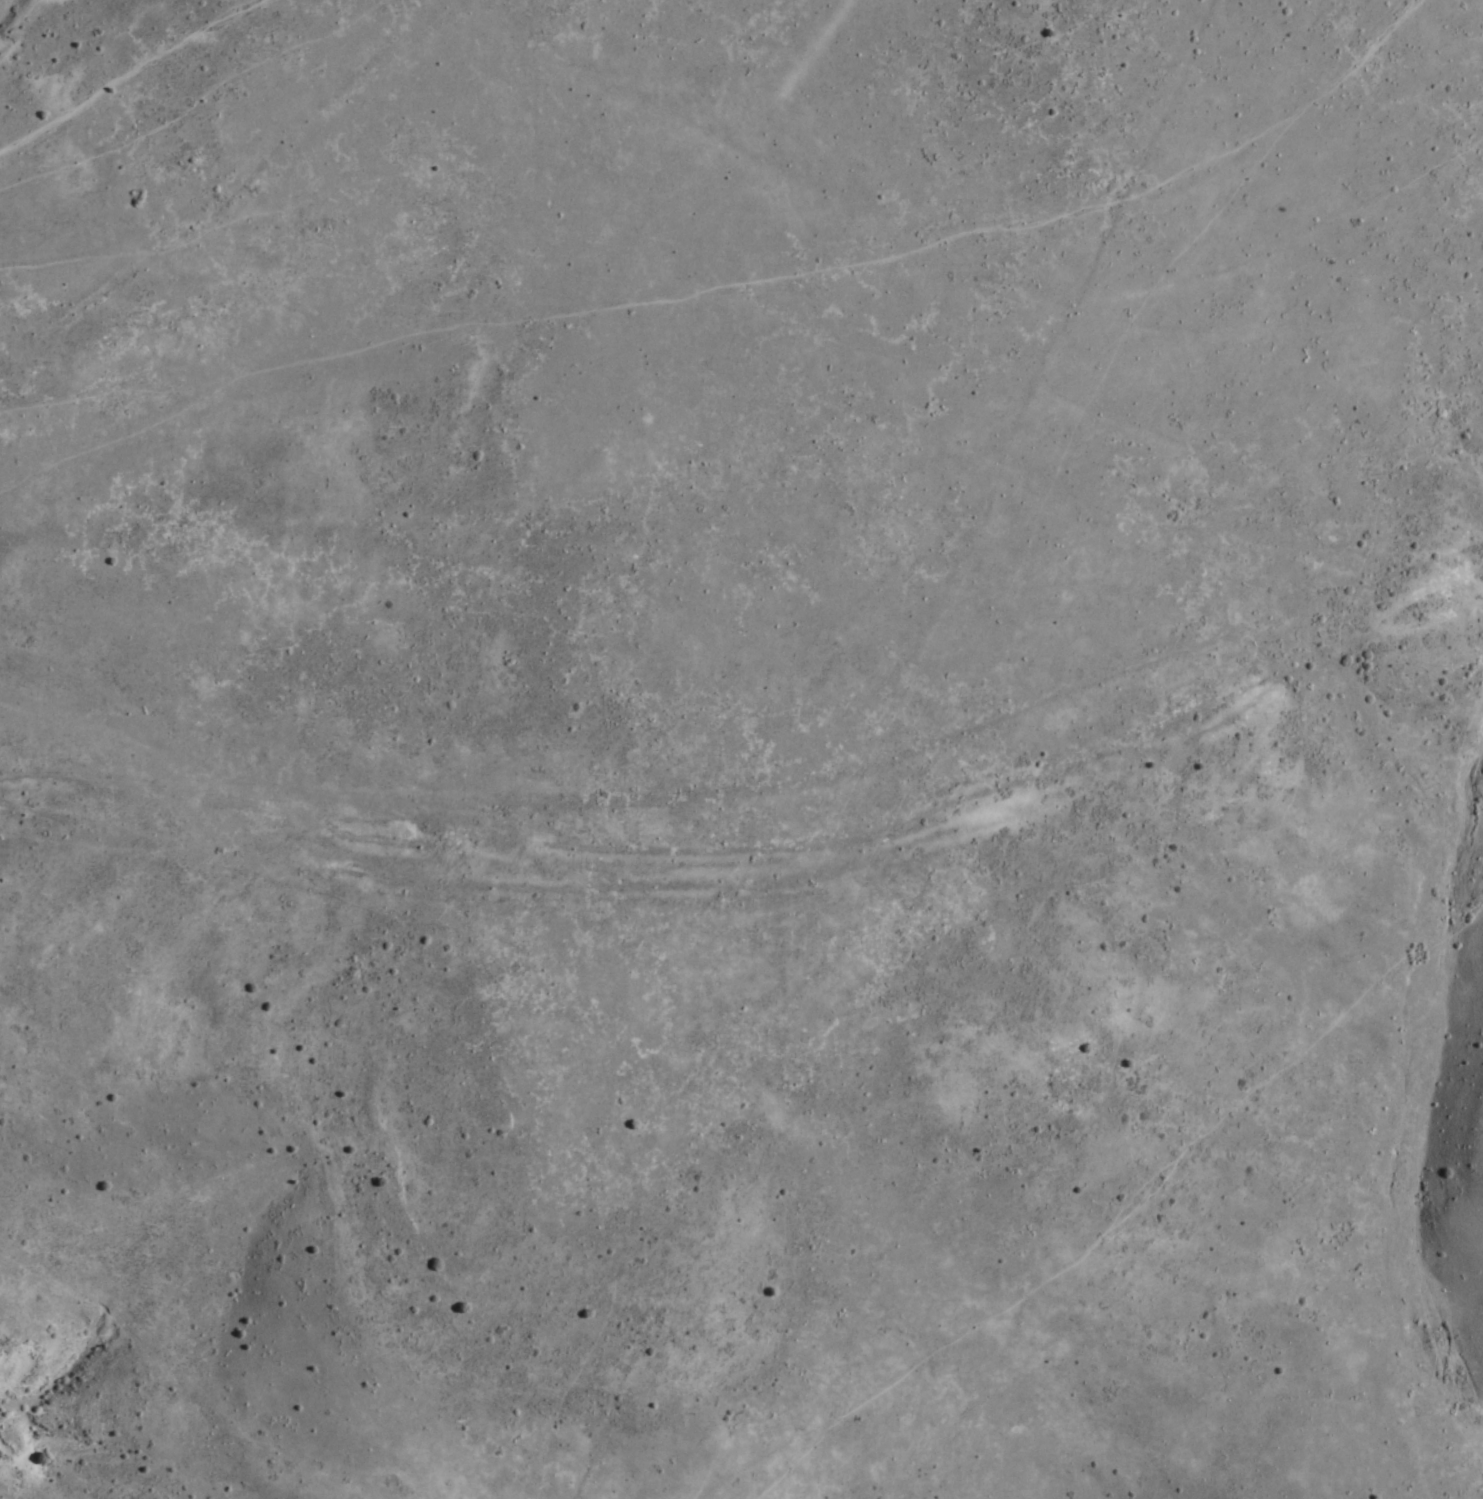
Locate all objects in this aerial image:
road: (14, 6)
road: (764, 920)

